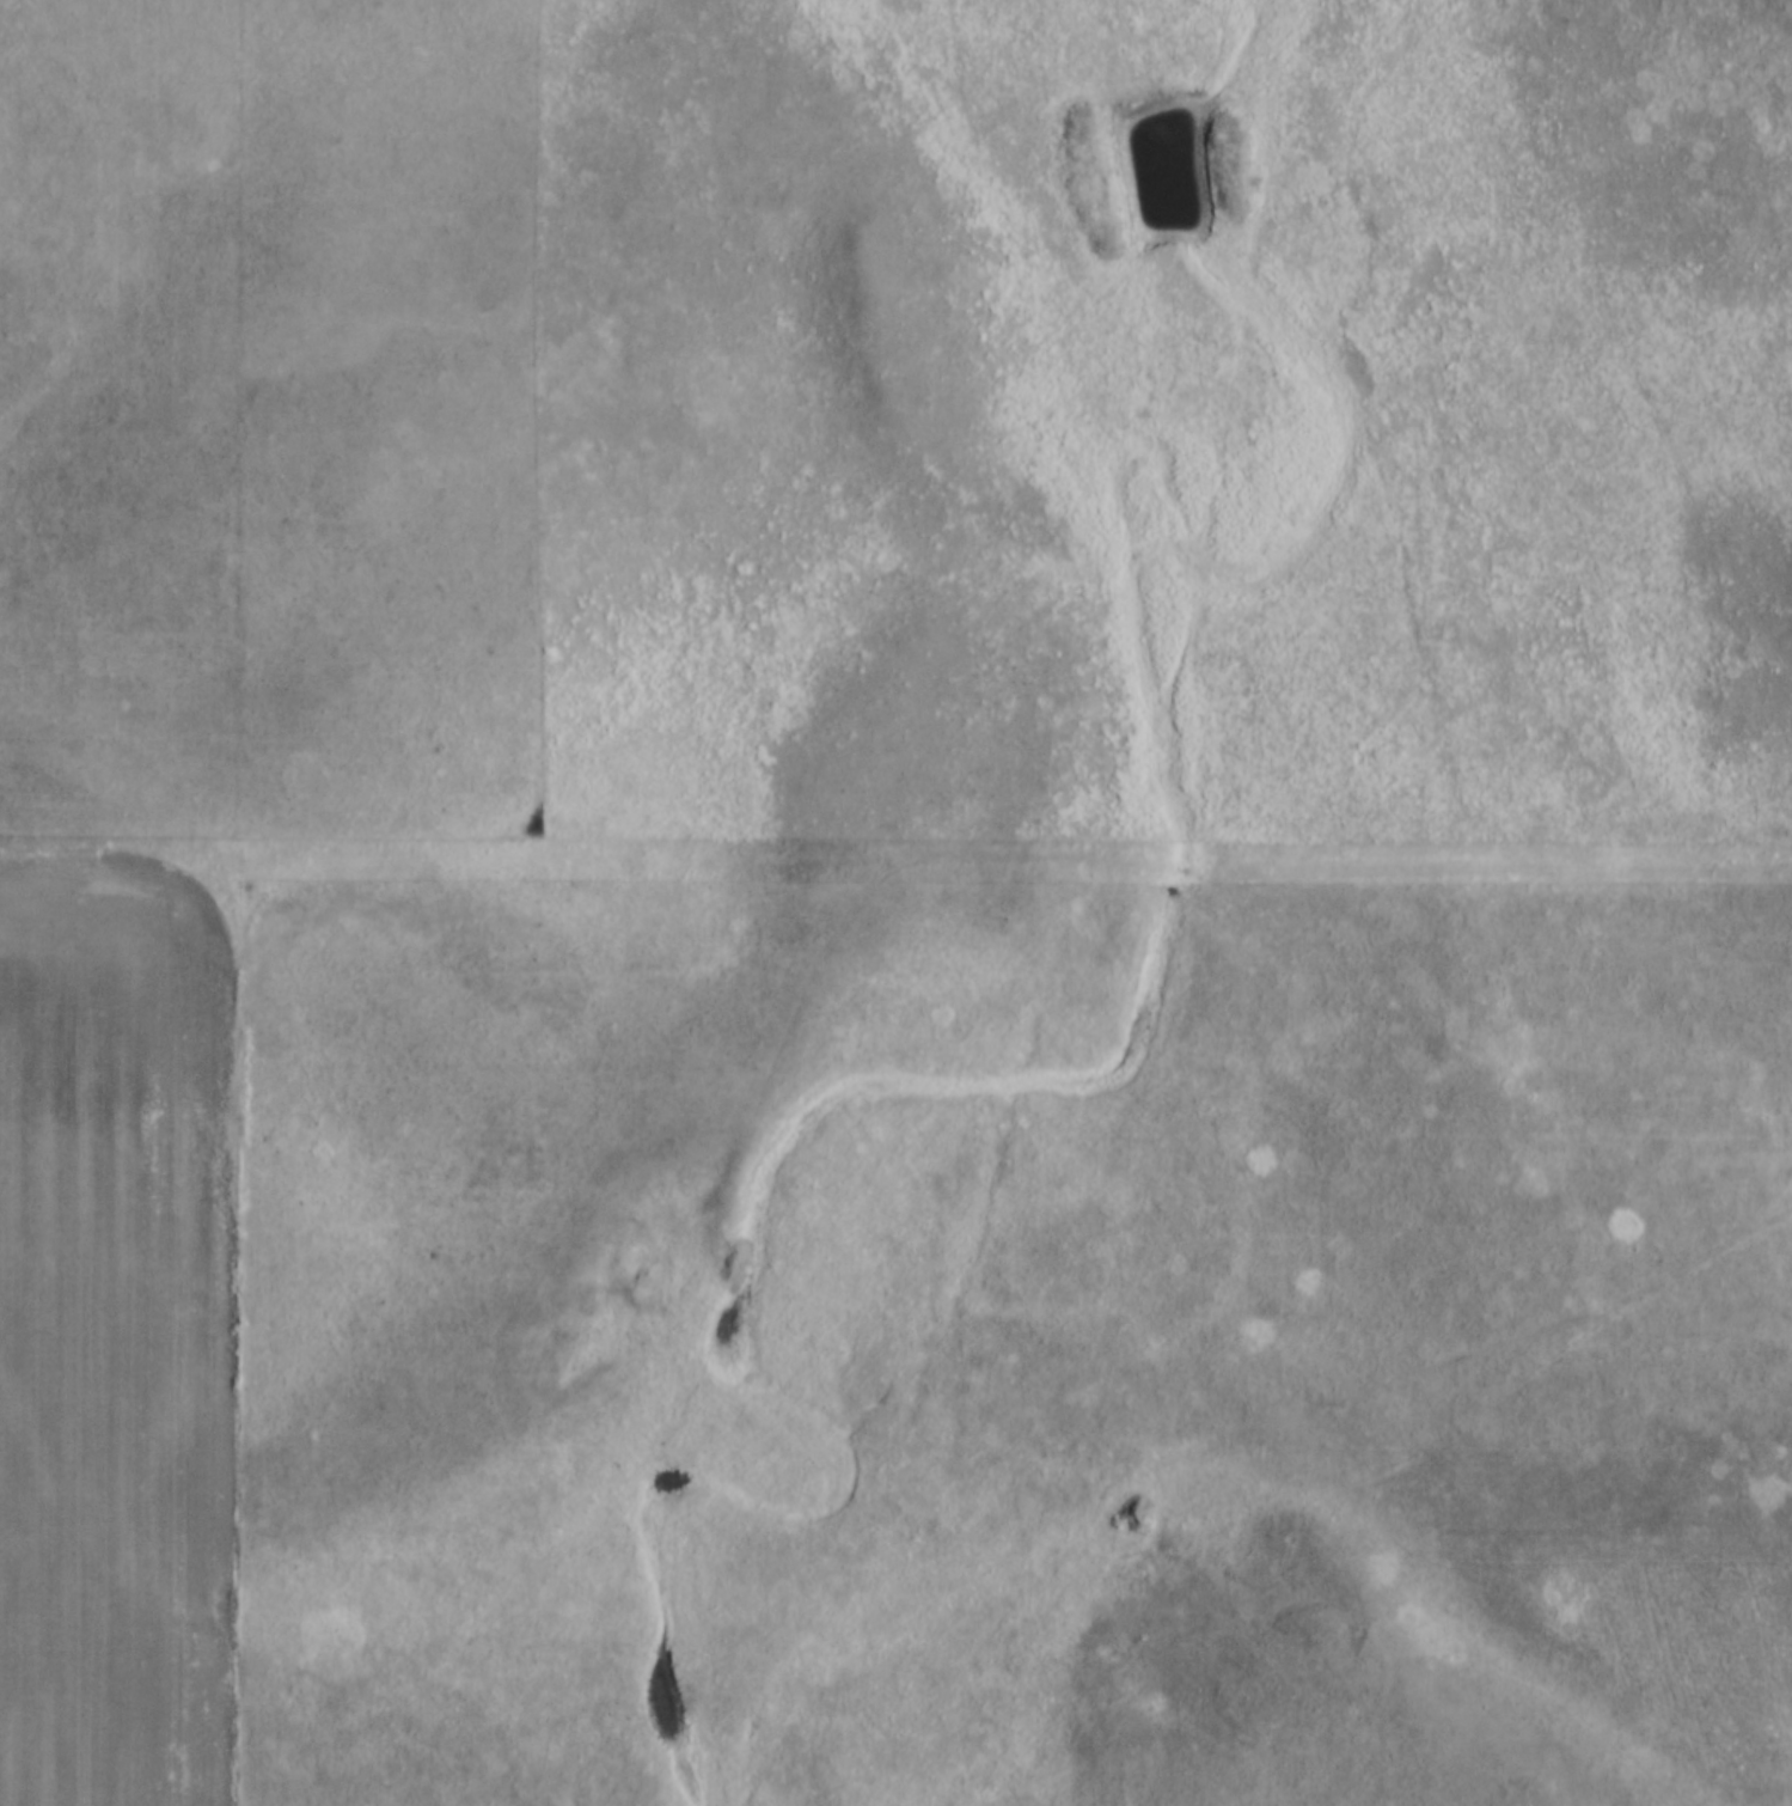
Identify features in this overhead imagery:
road: (895, 858)

